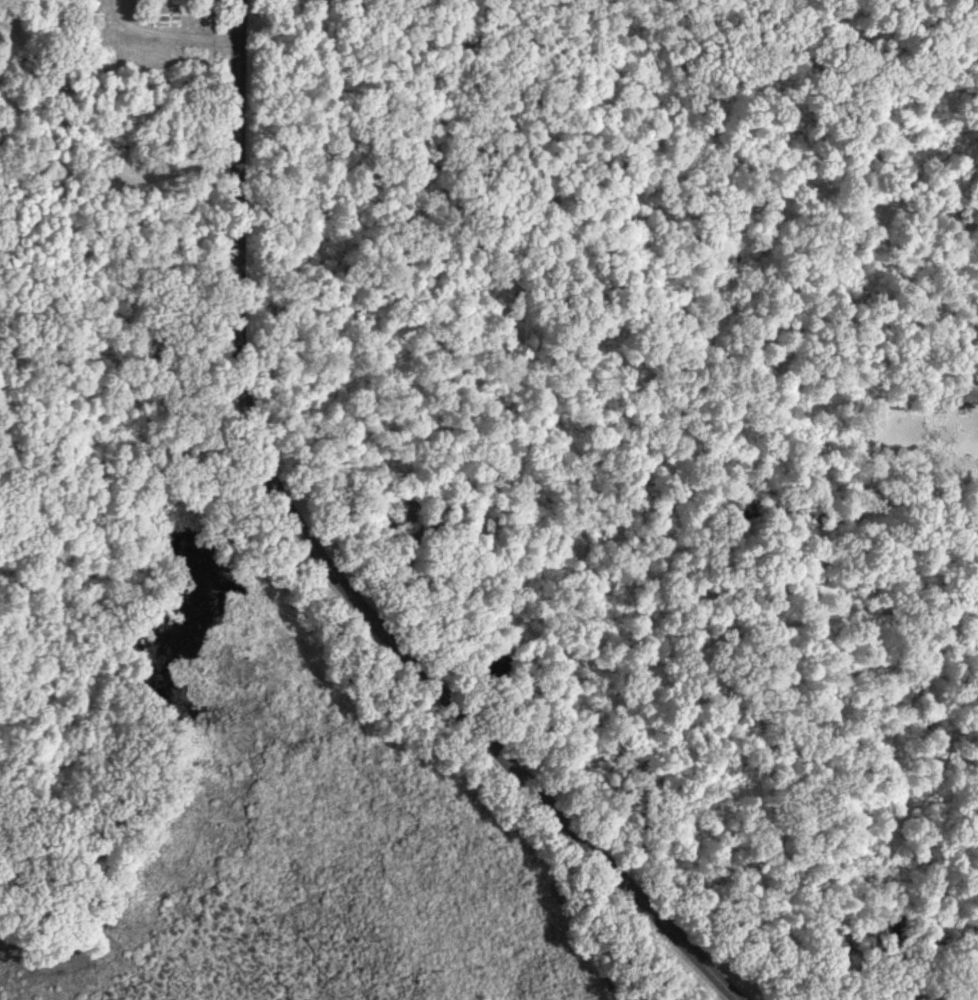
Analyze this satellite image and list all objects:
building: (96, 21)
road: (168, 32)
road: (330, 567)
road: (937, 987)

